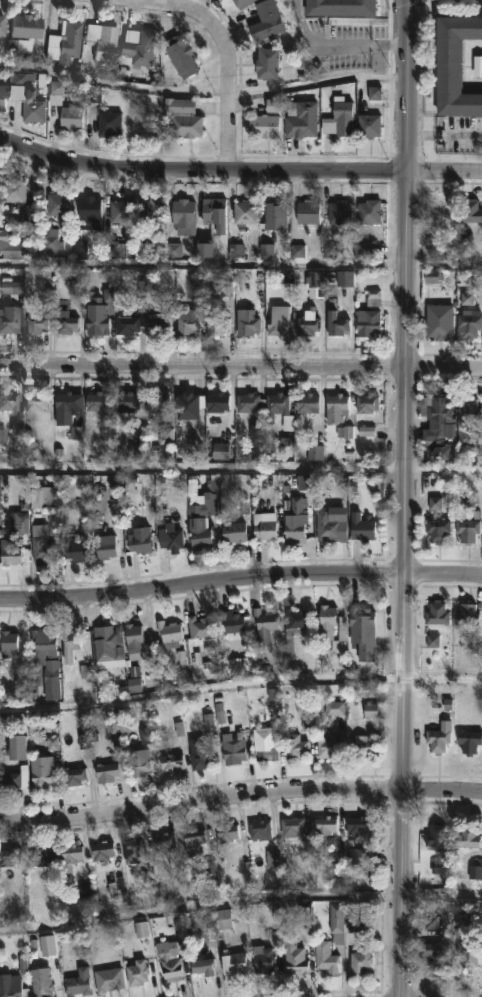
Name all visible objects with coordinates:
building: (240, 3)
building: (341, 7)
building: (265, 20)
building: (1, 25)
building: (23, 26)
building: (100, 41)
building: (62, 42)
road: (365, 43)
building: (15, 46)
building: (137, 49)
building: (180, 55)
road: (224, 60)
building: (267, 62)
building: (454, 65)
building: (19, 79)
road: (112, 84)
road: (316, 86)
building: (2, 97)
building: (31, 107)
building: (181, 116)
building: (70, 117)
building: (338, 117)
building: (300, 118)
building: (109, 123)
building: (263, 124)
building: (369, 125)
road: (444, 134)
road: (238, 168)
building: (13, 190)
building: (56, 202)
building: (89, 209)
building: (154, 210)
building: (469, 210)
building: (245, 211)
building: (307, 211)
building: (371, 211)
building: (119, 212)
building: (215, 213)
building: (340, 214)
building: (183, 215)
building: (274, 215)
building: (52, 240)
building: (15, 245)
road: (241, 265)
road: (407, 287)
building: (375, 299)
building: (7, 319)
building: (276, 320)
building: (187, 321)
building: (440, 321)
building: (65, 322)
building: (125, 322)
building: (246, 322)
building: (34, 323)
building: (95, 323)
building: (156, 323)
building: (337, 323)
building: (366, 323)
building: (307, 324)
building: (216, 325)
building: (469, 325)
road: (241, 366)
building: (34, 400)
building: (7, 401)
building: (126, 401)
building: (156, 401)
building: (189, 401)
building: (65, 402)
building: (96, 402)
building: (217, 402)
building: (248, 402)
building: (275, 402)
building: (306, 402)
building: (367, 403)
building: (337, 407)
building: (466, 418)
building: (438, 420)
building: (437, 452)
road: (241, 472)
road: (477, 488)
building: (46, 498)
building: (76, 502)
building: (205, 502)
building: (296, 519)
building: (329, 526)
building: (262, 527)
building: (364, 528)
building: (439, 530)
building: (467, 530)
building: (234, 531)
building: (199, 534)
building: (169, 537)
building: (138, 541)
building: (103, 546)
building: (40, 548)
building: (78, 551)
building: (10, 555)
road: (443, 576)
road: (202, 585)
building: (436, 613)
building: (467, 613)
building: (292, 617)
building: (234, 621)
building: (263, 624)
building: (197, 626)
building: (332, 628)
building: (363, 629)
building: (169, 633)
building: (131, 637)
building: (107, 640)
building: (434, 642)
building: (7, 643)
building: (68, 643)
building: (44, 659)
road: (240, 690)
building: (438, 737)
building: (298, 740)
building: (469, 740)
building: (363, 746)
building: (14, 748)
building: (326, 748)
building: (264, 751)
building: (232, 752)
building: (200, 754)
building: (137, 763)
building: (171, 763)
building: (41, 772)
building: (105, 772)
building: (73, 776)
building: (15, 781)
road: (405, 785)
road: (240, 805)
building: (324, 823)
building: (358, 824)
building: (291, 825)
building: (260, 828)
building: (226, 831)
building: (437, 833)
building: (467, 837)
building: (193, 839)
building: (162, 841)
building: (131, 848)
building: (101, 849)
building: (41, 854)
building: (68, 854)
building: (8, 856)
building: (360, 857)
building: (83, 898)
road: (240, 903)
building: (222, 917)
building: (336, 922)
building: (435, 951)
building: (469, 953)
building: (293, 955)
building: (325, 956)
building: (260, 958)
building: (168, 959)
building: (361, 960)
building: (232, 962)
building: (202, 965)
building: (136, 971)
building: (107, 979)
building: (40, 982)
building: (77, 982)
building: (12, 988)

